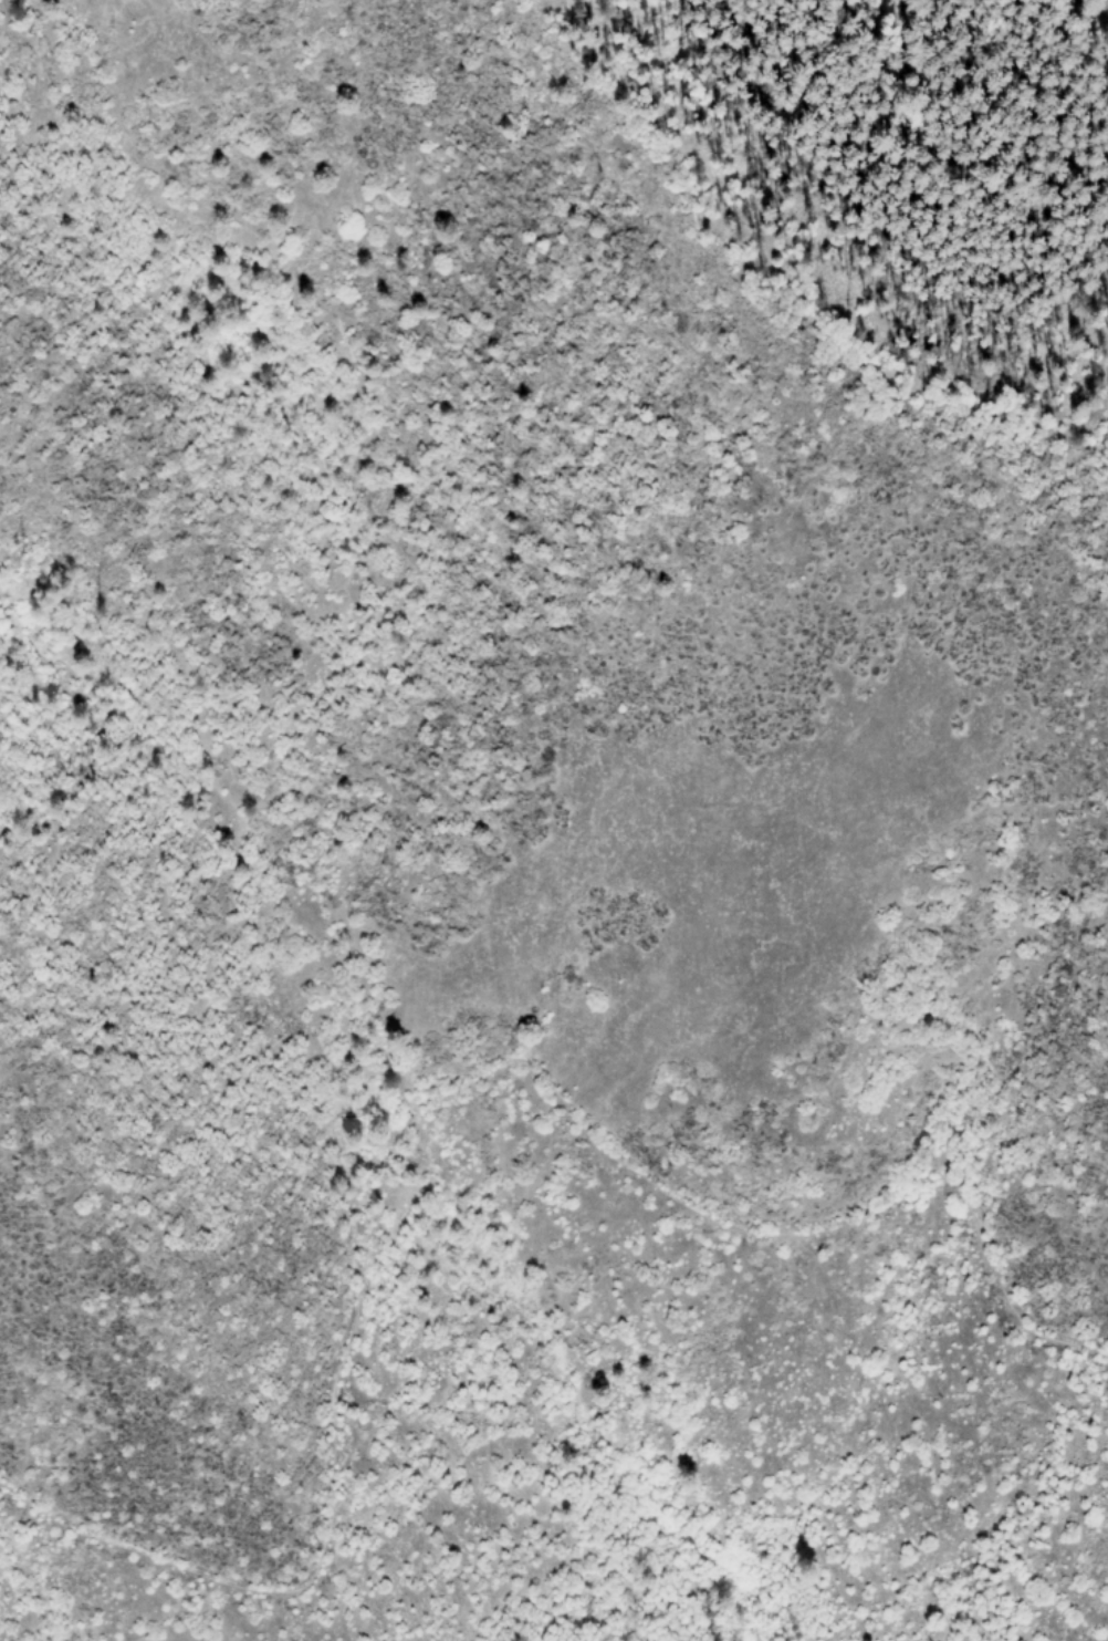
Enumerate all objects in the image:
road: (414, 1083)

